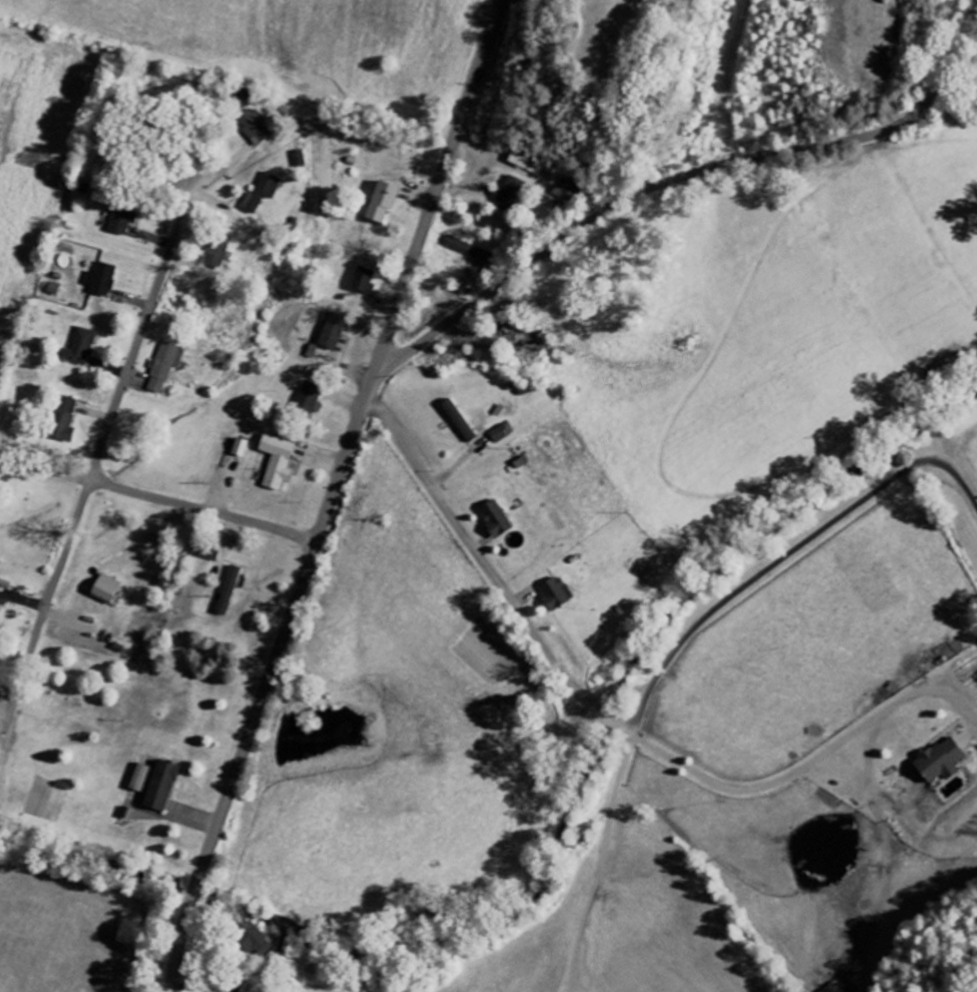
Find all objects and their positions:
building: (253, 129)
building: (299, 160)
building: (520, 162)
road: (680, 180)
building: (568, 191)
building: (264, 192)
building: (510, 195)
building: (383, 203)
building: (122, 222)
building: (469, 250)
building: (218, 252)
building: (102, 281)
building: (364, 282)
building: (54, 289)
building: (334, 333)
building: (82, 347)
building: (165, 368)
building: (310, 400)
building: (64, 421)
building: (502, 434)
road: (49, 444)
building: (241, 449)
road: (99, 451)
building: (278, 462)
road: (49, 466)
road: (332, 494)
road: (196, 509)
building: (496, 518)
building: (208, 553)
building: (106, 589)
building: (229, 591)
building: (555, 594)
building: (1, 611)
building: (941, 761)
building: (157, 784)
building: (137, 796)
building: (256, 941)
building: (835, 988)

